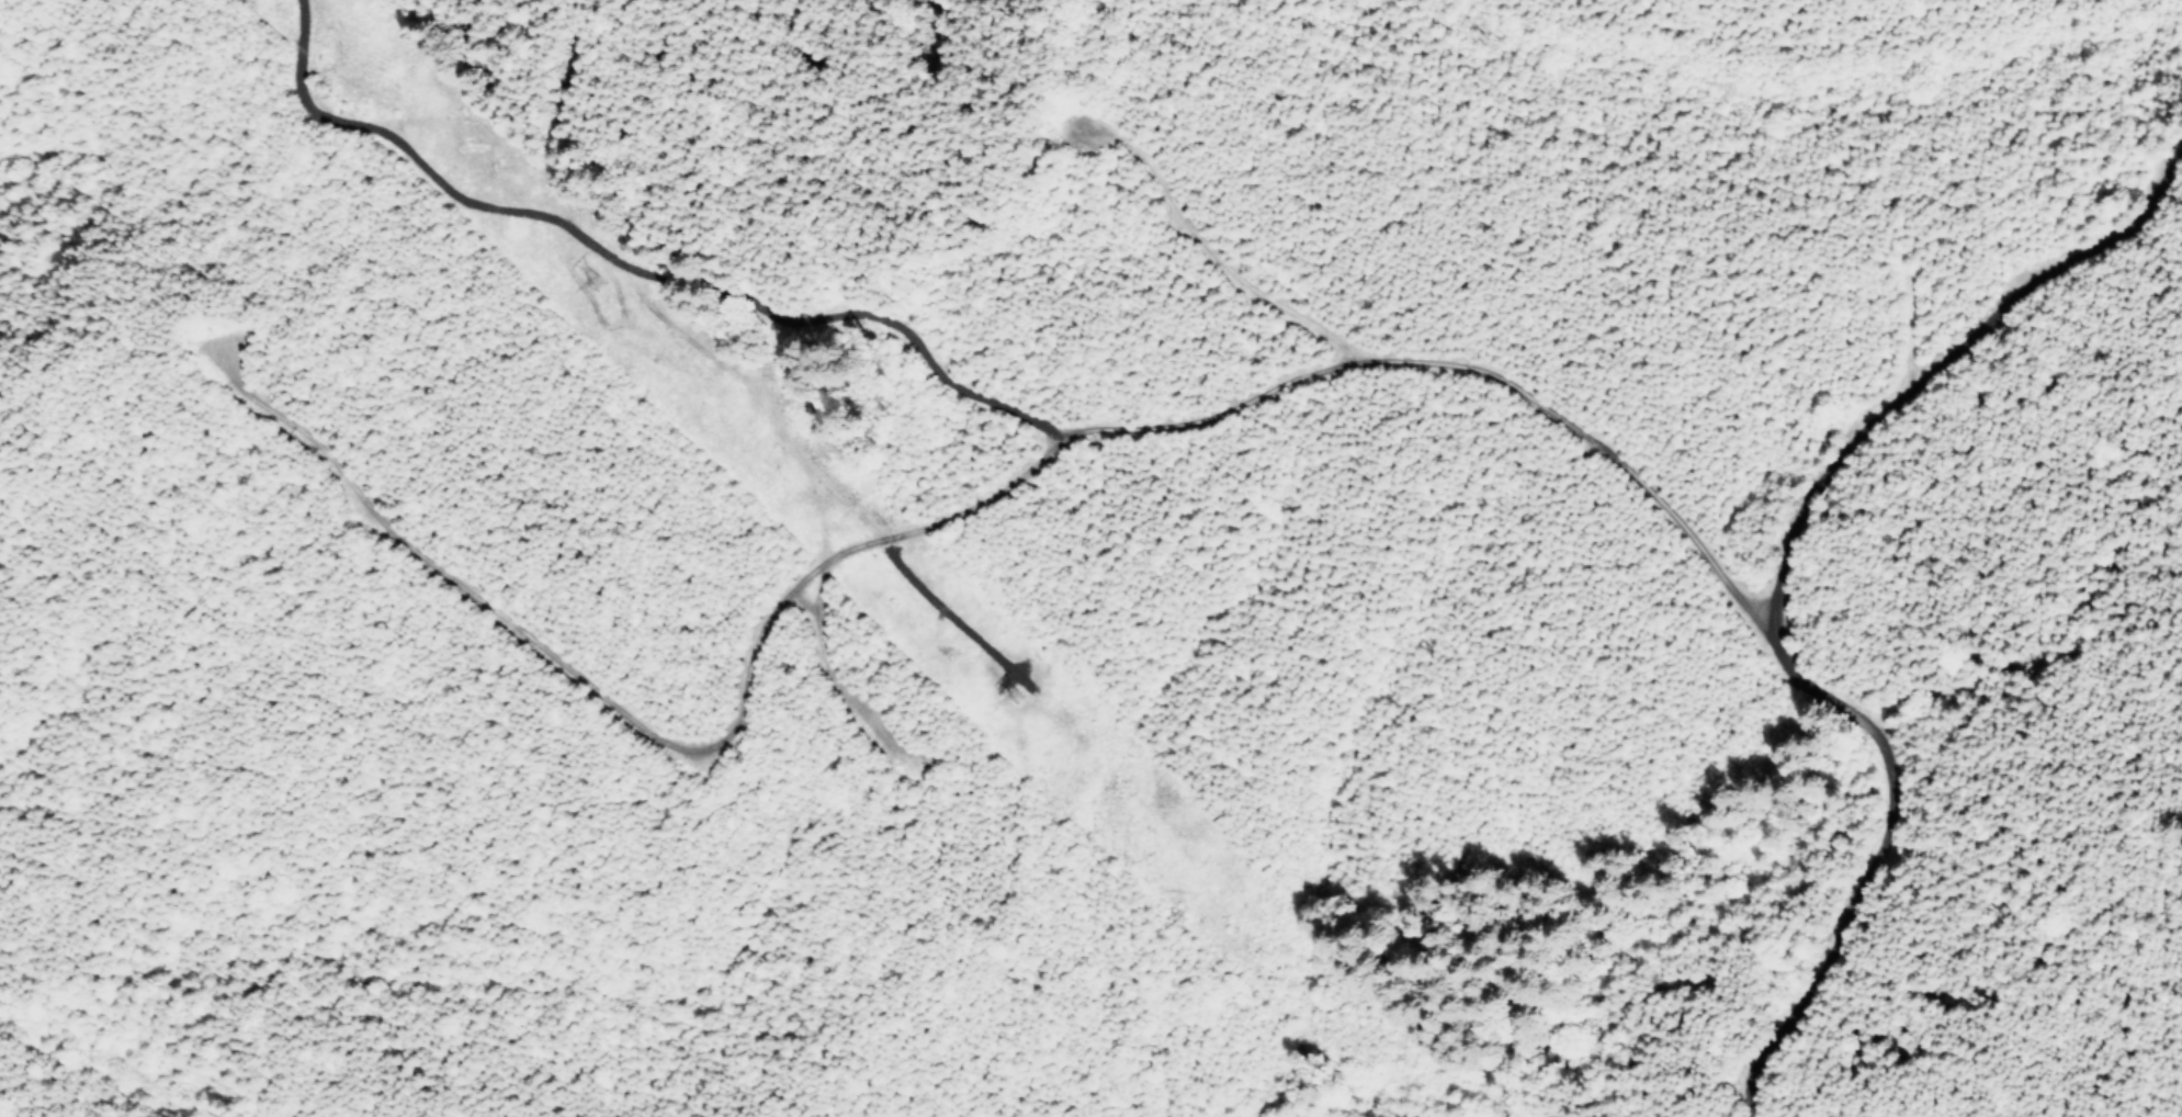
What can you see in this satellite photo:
power tower: (584, 279)
power tower: (1003, 689)

